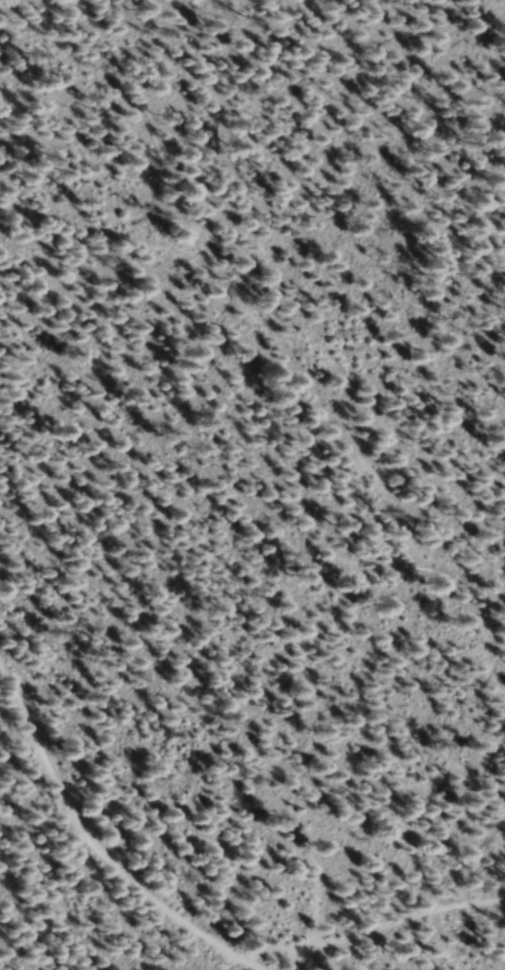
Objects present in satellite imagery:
road: (301, 337)
road: (109, 801)

